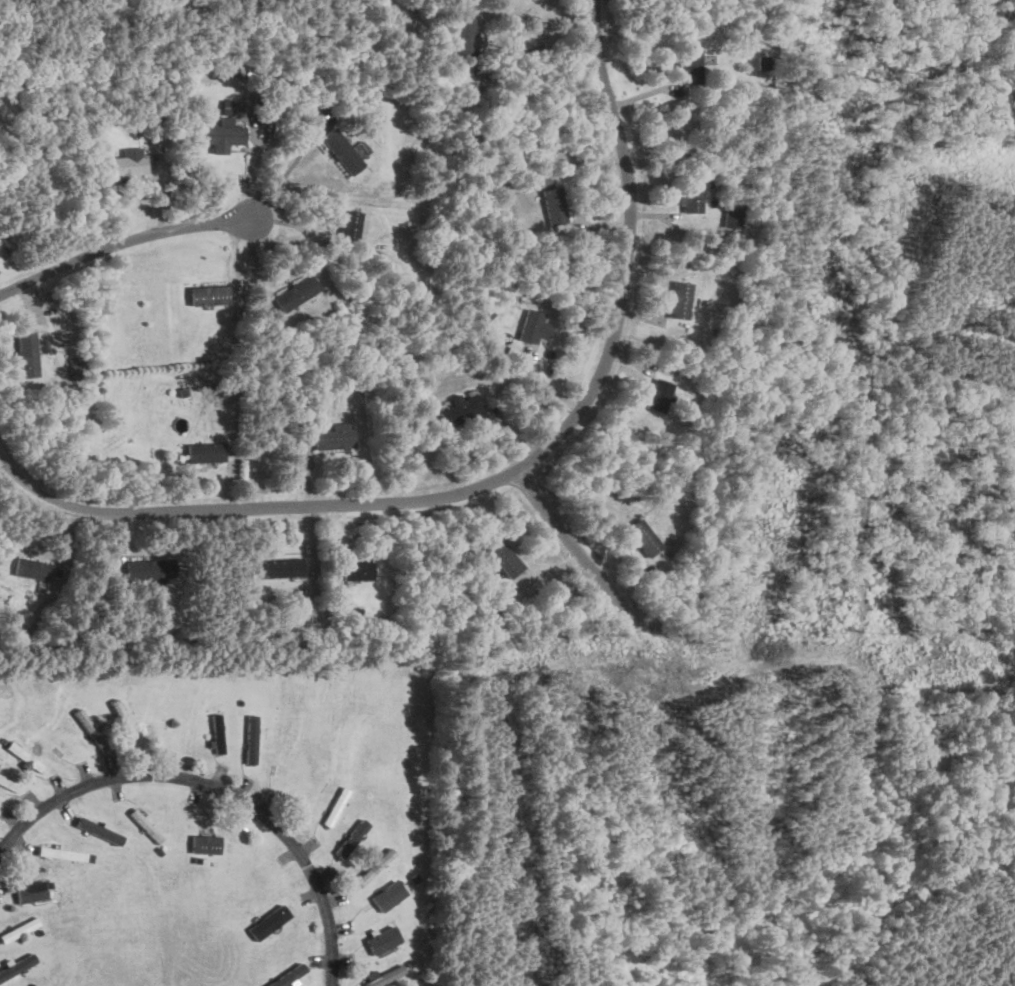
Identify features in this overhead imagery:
building: (463, 37)
road: (538, 43)
building: (688, 62)
building: (226, 107)
building: (217, 134)
building: (339, 151)
building: (125, 165)
road: (253, 167)
road: (284, 172)
building: (542, 175)
building: (688, 197)
building: (552, 206)
building: (731, 217)
road: (297, 224)
building: (347, 225)
road: (122, 246)
building: (294, 293)
building: (206, 295)
building: (677, 300)
building: (528, 325)
building: (25, 353)
building: (656, 396)
building: (459, 410)
building: (331, 438)
building: (203, 453)
building: (180, 457)
road: (508, 477)
building: (641, 537)
road: (582, 550)
building: (502, 557)
building: (276, 568)
building: (30, 569)
building: (148, 570)
building: (355, 571)
building: (35, 763)
road: (221, 787)
building: (334, 806)
building: (98, 830)
building: (356, 831)
building: (205, 843)
building: (60, 853)
building: (374, 866)
building: (30, 891)
building: (388, 895)
building: (268, 921)
building: (18, 929)
building: (382, 976)

